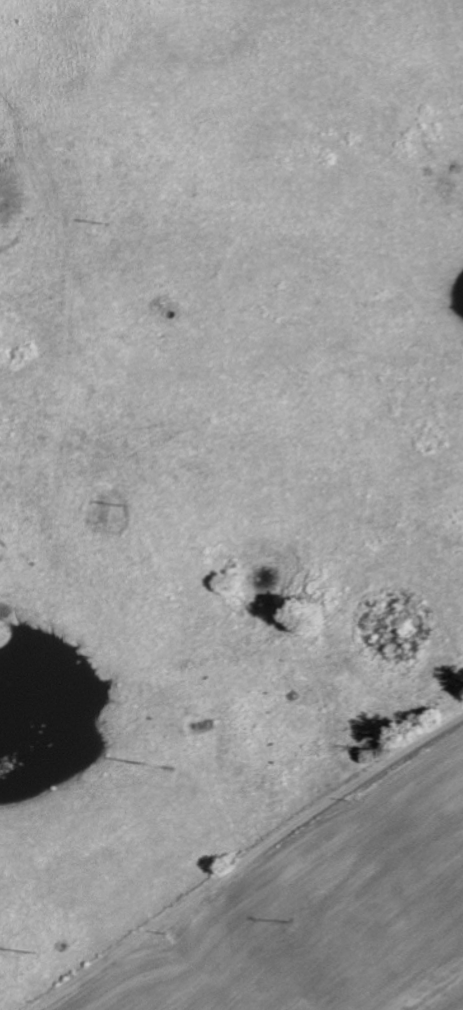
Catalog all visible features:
road: (247, 861)

